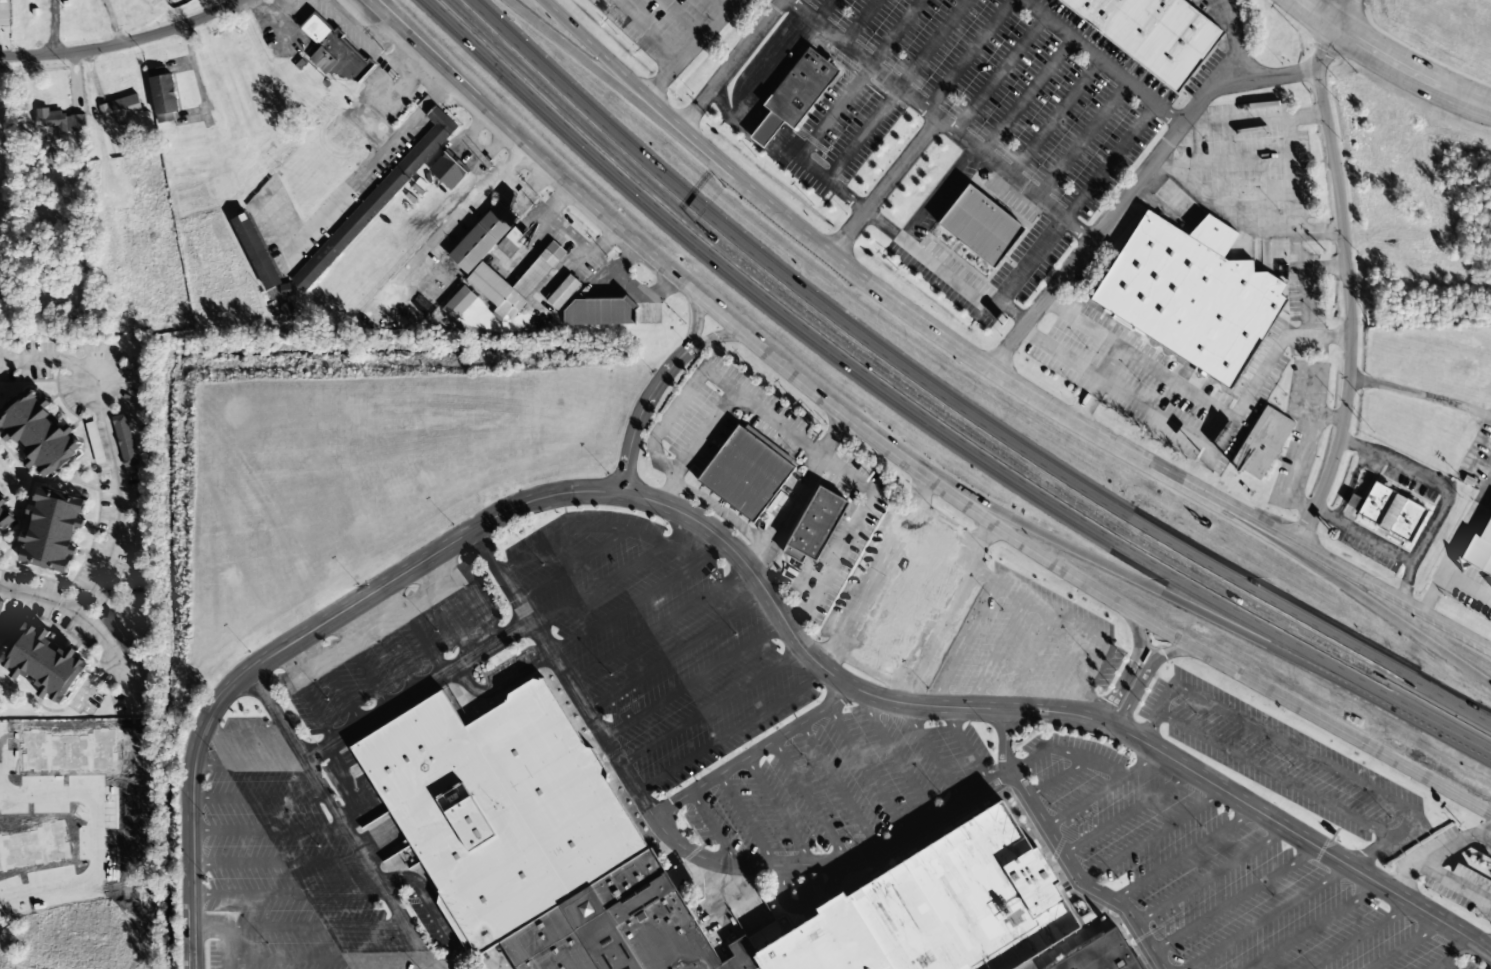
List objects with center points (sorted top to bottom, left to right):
building: (153, 2)
road: (278, 13)
road: (1318, 16)
road: (1349, 16)
road: (382, 30)
building: (1154, 32)
road: (117, 42)
building: (335, 51)
road: (378, 51)
road: (1400, 66)
road: (622, 93)
building: (798, 93)
building: (165, 96)
road: (1476, 104)
building: (120, 108)
building: (76, 122)
building: (406, 167)
building: (447, 171)
building: (981, 226)
building: (482, 237)
building: (512, 241)
building: (539, 270)
road: (1345, 286)
building: (564, 292)
building: (1187, 293)
building: (601, 311)
road: (710, 325)
road: (735, 325)
road: (722, 336)
road: (992, 360)
road: (950, 400)
road: (656, 414)
road: (925, 423)
building: (40, 433)
building: (125, 440)
building: (95, 442)
building: (1262, 443)
road: (114, 453)
building: (746, 472)
road: (534, 501)
building: (1388, 511)
building: (7, 516)
building: (827, 519)
road: (597, 526)
building: (55, 529)
building: (1479, 551)
road: (571, 565)
road: (597, 586)
road: (472, 596)
road: (637, 599)
building: (1, 604)
road: (1381, 604)
road: (444, 614)
road: (1213, 620)
road: (657, 626)
road: (89, 627)
road: (416, 631)
building: (119, 633)
road: (389, 647)
road: (675, 653)
building: (46, 662)
road: (361, 664)
road: (1130, 667)
road: (1146, 670)
road: (333, 681)
road: (692, 681)
road: (500, 685)
road: (417, 693)
road: (306, 698)
road: (708, 707)
road: (1156, 711)
road: (1309, 711)
road: (243, 732)
road: (729, 732)
road: (966, 747)
road: (1293, 747)
road: (752, 752)
road: (932, 755)
road: (896, 758)
road: (1081, 762)
road: (248, 763)
road: (866, 770)
road: (1107, 774)
road: (1272, 774)
road: (838, 786)
road: (351, 788)
road: (1107, 793)
road: (259, 796)
road: (808, 800)
road: (777, 810)
road: (1130, 814)
road: (746, 819)
road: (342, 820)
road: (712, 827)
road: (269, 828)
road: (1295, 832)
road: (1156, 837)
road: (1384, 839)
road: (671, 840)
road: (1060, 850)
road: (1187, 857)
building: (540, 860)
road: (280, 861)
road: (1211, 878)
road: (290, 892)
road: (1237, 903)
road: (800, 908)
road: (433, 909)
road: (1270, 918)
road: (300, 926)
road: (1318, 928)
road: (1365, 937)
road: (1409, 946)
building: (1102, 955)
road: (1458, 955)
road: (311, 958)
road: (1443, 968)

